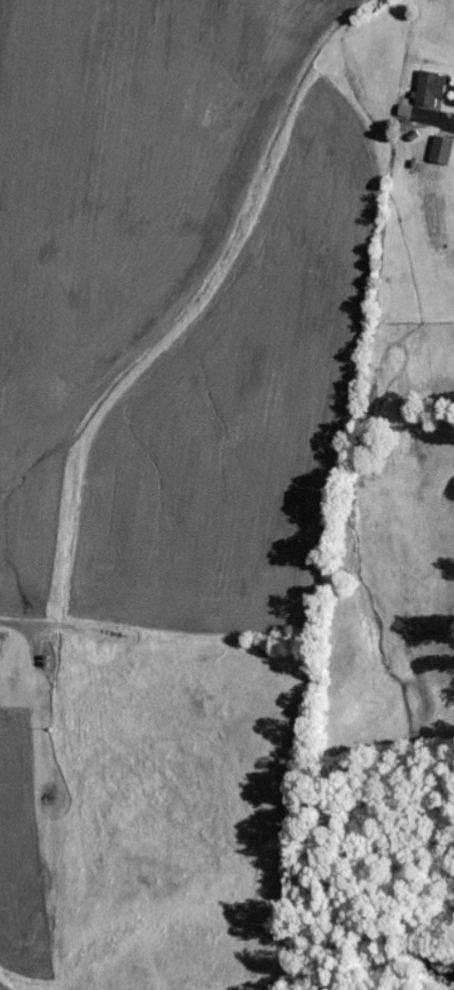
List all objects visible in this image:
building: (432, 92)
building: (442, 153)

